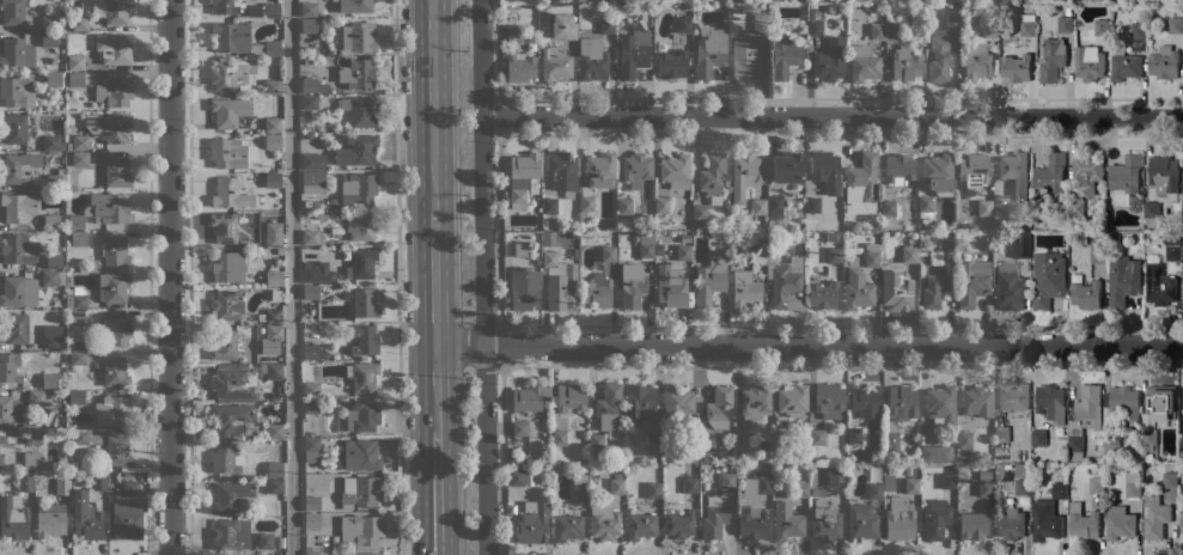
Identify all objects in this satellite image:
building: (705, 0)
building: (1002, 0)
building: (354, 5)
building: (226, 6)
building: (688, 6)
building: (310, 10)
building: (993, 10)
building: (114, 11)
building: (264, 11)
building: (1068, 11)
building: (13, 12)
building: (876, 14)
building: (51, 22)
building: (682, 22)
building: (80, 23)
building: (761, 23)
building: (952, 23)
building: (1065, 24)
building: (68, 25)
building: (604, 25)
building: (1175, 25)
building: (310, 26)
building: (894, 26)
building: (566, 28)
building: (813, 28)
building: (1027, 28)
building: (1102, 28)
building: (990, 29)
building: (1139, 30)
building: (878, 31)
building: (514, 35)
building: (231, 36)
building: (358, 37)
building: (49, 39)
building: (272, 48)
building: (114, 49)
building: (256, 50)
building: (709, 50)
building: (17, 53)
building: (633, 53)
building: (785, 56)
building: (940, 59)
building: (592, 60)
building: (829, 60)
building: (1051, 60)
building: (745, 61)
building: (75, 62)
building: (978, 62)
building: (1089, 62)
building: (556, 63)
building: (864, 63)
building: (905, 63)
building: (1164, 63)
building: (672, 65)
building: (1016, 66)
building: (520, 67)
building: (1124, 67)
building: (358, 73)
building: (231, 74)
building: (54, 79)
building: (75, 79)
building: (309, 85)
building: (272, 86)
building: (322, 87)
building: (114, 91)
building: (17, 92)
building: (309, 102)
road: (431, 105)
building: (359, 111)
building: (225, 112)
road: (831, 115)
building: (273, 126)
building: (114, 127)
building: (14, 128)
building: (307, 135)
building: (272, 141)
building: (51, 142)
building: (79, 142)
building: (358, 150)
building: (231, 153)
building: (80, 159)
building: (313, 160)
building: (823, 166)
building: (1013, 166)
building: (18, 167)
building: (636, 169)
building: (787, 169)
building: (898, 169)
building: (600, 170)
building: (117, 171)
building: (562, 171)
building: (675, 171)
building: (972, 171)
building: (938, 172)
building: (1050, 172)
building: (744, 175)
building: (523, 177)
building: (713, 177)
building: (1164, 177)
building: (1126, 179)
building: (273, 181)
building: (54, 182)
building: (312, 182)
building: (1083, 182)
building: (861, 185)
building: (358, 188)
building: (225, 191)
building: (1182, 196)
building: (1182, 199)
building: (333, 202)
building: (1001, 202)
building: (663, 205)
building: (812, 205)
building: (550, 206)
building: (624, 206)
building: (925, 206)
building: (18, 207)
building: (586, 207)
building: (757, 207)
building: (804, 207)
building: (888, 207)
building: (108, 208)
building: (775, 208)
building: (983, 208)
building: (1098, 208)
building: (700, 212)
building: (303, 213)
building: (339, 213)
building: (1151, 213)
building: (51, 221)
building: (74, 221)
building: (551, 224)
building: (362, 225)
building: (567, 225)
building: (1062, 226)
building: (224, 228)
building: (700, 228)
building: (776, 234)
building: (1112, 236)
building: (312, 237)
building: (684, 237)
building: (799, 237)
building: (831, 237)
building: (959, 237)
building: (79, 238)
building: (952, 238)
building: (274, 239)
building: (554, 239)
building: (569, 242)
building: (248, 243)
building: (646, 245)
building: (1023, 245)
building: (1096, 246)
building: (1171, 246)
building: (18, 249)
building: (522, 249)
building: (947, 250)
building: (115, 251)
building: (683, 252)
building: (609, 254)
building: (834, 255)
building: (871, 255)
building: (909, 255)
building: (758, 256)
building: (54, 257)
building: (549, 258)
building: (361, 263)
building: (228, 267)
building: (318, 273)
building: (53, 277)
road: (170, 277)
road: (189, 277)
building: (273, 277)
road: (291, 277)
road: (397, 277)
road: (433, 277)
road: (482, 277)
building: (1048, 279)
building: (709, 280)
building: (785, 281)
building: (1121, 281)
building: (972, 283)
building: (1158, 283)
building: (671, 285)
building: (114, 286)
building: (633, 287)
building: (856, 287)
building: (1010, 287)
building: (525, 288)
building: (745, 288)
building: (310, 291)
building: (933, 291)
building: (19, 292)
building: (597, 292)
building: (562, 293)
building: (897, 293)
building: (823, 294)
building: (1086, 295)
building: (77, 299)
building: (365, 303)
building: (226, 305)
building: (274, 316)
building: (77, 318)
building: (14, 327)
building: (116, 330)
building: (274, 334)
building: (53, 336)
building: (365, 340)
building: (225, 344)
road: (807, 344)
building: (311, 352)
building: (324, 353)
building: (79, 360)
building: (10, 367)
building: (272, 370)
building: (115, 372)
building: (364, 377)
building: (49, 380)
building: (234, 383)
road: (434, 388)
building: (311, 389)
building: (1182, 395)
building: (38, 396)
building: (77, 397)
building: (529, 397)
building: (1014, 397)
building: (569, 398)
building: (1049, 398)
building: (793, 400)
building: (867, 400)
building: (829, 401)
building: (976, 401)
building: (640, 402)
building: (755, 402)
building: (902, 402)
building: (1123, 403)
building: (1161, 403)
building: (940, 404)
building: (311, 405)
building: (676, 407)
building: (719, 407)
building: (609, 408)
building: (1089, 408)
building: (10, 411)
building: (114, 411)
building: (361, 416)
building: (232, 420)
building: (520, 428)
building: (274, 431)
building: (781, 434)
building: (1001, 434)
building: (854, 435)
building: (33, 437)
building: (84, 437)
building: (690, 437)
building: (817, 437)
building: (1148, 437)
building: (560, 438)
building: (743, 438)
building: (1038, 438)
building: (653, 439)
building: (891, 439)
building: (964, 439)
building: (1181, 439)
building: (596, 444)
building: (707, 444)
building: (1112, 445)
building: (1075, 447)
building: (311, 449)
building: (6, 450)
building: (117, 451)
building: (935, 453)
building: (1181, 455)
building: (358, 456)
building: (523, 457)
building: (32, 458)
building: (225, 458)
building: (73, 464)
building: (849, 466)
building: (584, 468)
building: (273, 469)
building: (111, 472)
building: (761, 474)
building: (984, 475)
building: (517, 477)
building: (836, 477)
building: (26, 480)
building: (1170, 480)
building: (727, 481)
building: (949, 481)
building: (62, 482)
building: (99, 482)
building: (874, 482)
building: (889, 482)
building: (689, 484)
building: (1096, 484)
building: (1133, 484)
building: (275, 486)
building: (617, 486)
building: (750, 486)
building: (764, 486)
building: (911, 486)
building: (130, 487)
building: (579, 487)
building: (1023, 487)
building: (986, 488)
building: (652, 489)
building: (800, 489)
building: (1059, 490)
building: (360, 492)
road: (435, 492)
building: (231, 498)
building: (311, 504)
building: (86, 517)
building: (13, 518)
building: (713, 518)
building: (898, 518)
building: (1155, 518)
building: (50, 519)
building: (312, 519)
building: (937, 519)
building: (127, 520)
building: (824, 520)
building: (1045, 520)
building: (787, 522)
building: (861, 522)
building: (1083, 522)
building: (1182, 522)
building: (532, 523)
building: (566, 523)
building: (604, 523)
building: (1118, 523)
building: (1010, 524)
building: (640, 525)
building: (678, 525)
building: (752, 525)
building: (972, 525)
building: (360, 529)
building: (231, 533)
building: (263, 539)
building: (279, 541)
building: (334, 544)
building: (312, 553)
building: (360, 553)

